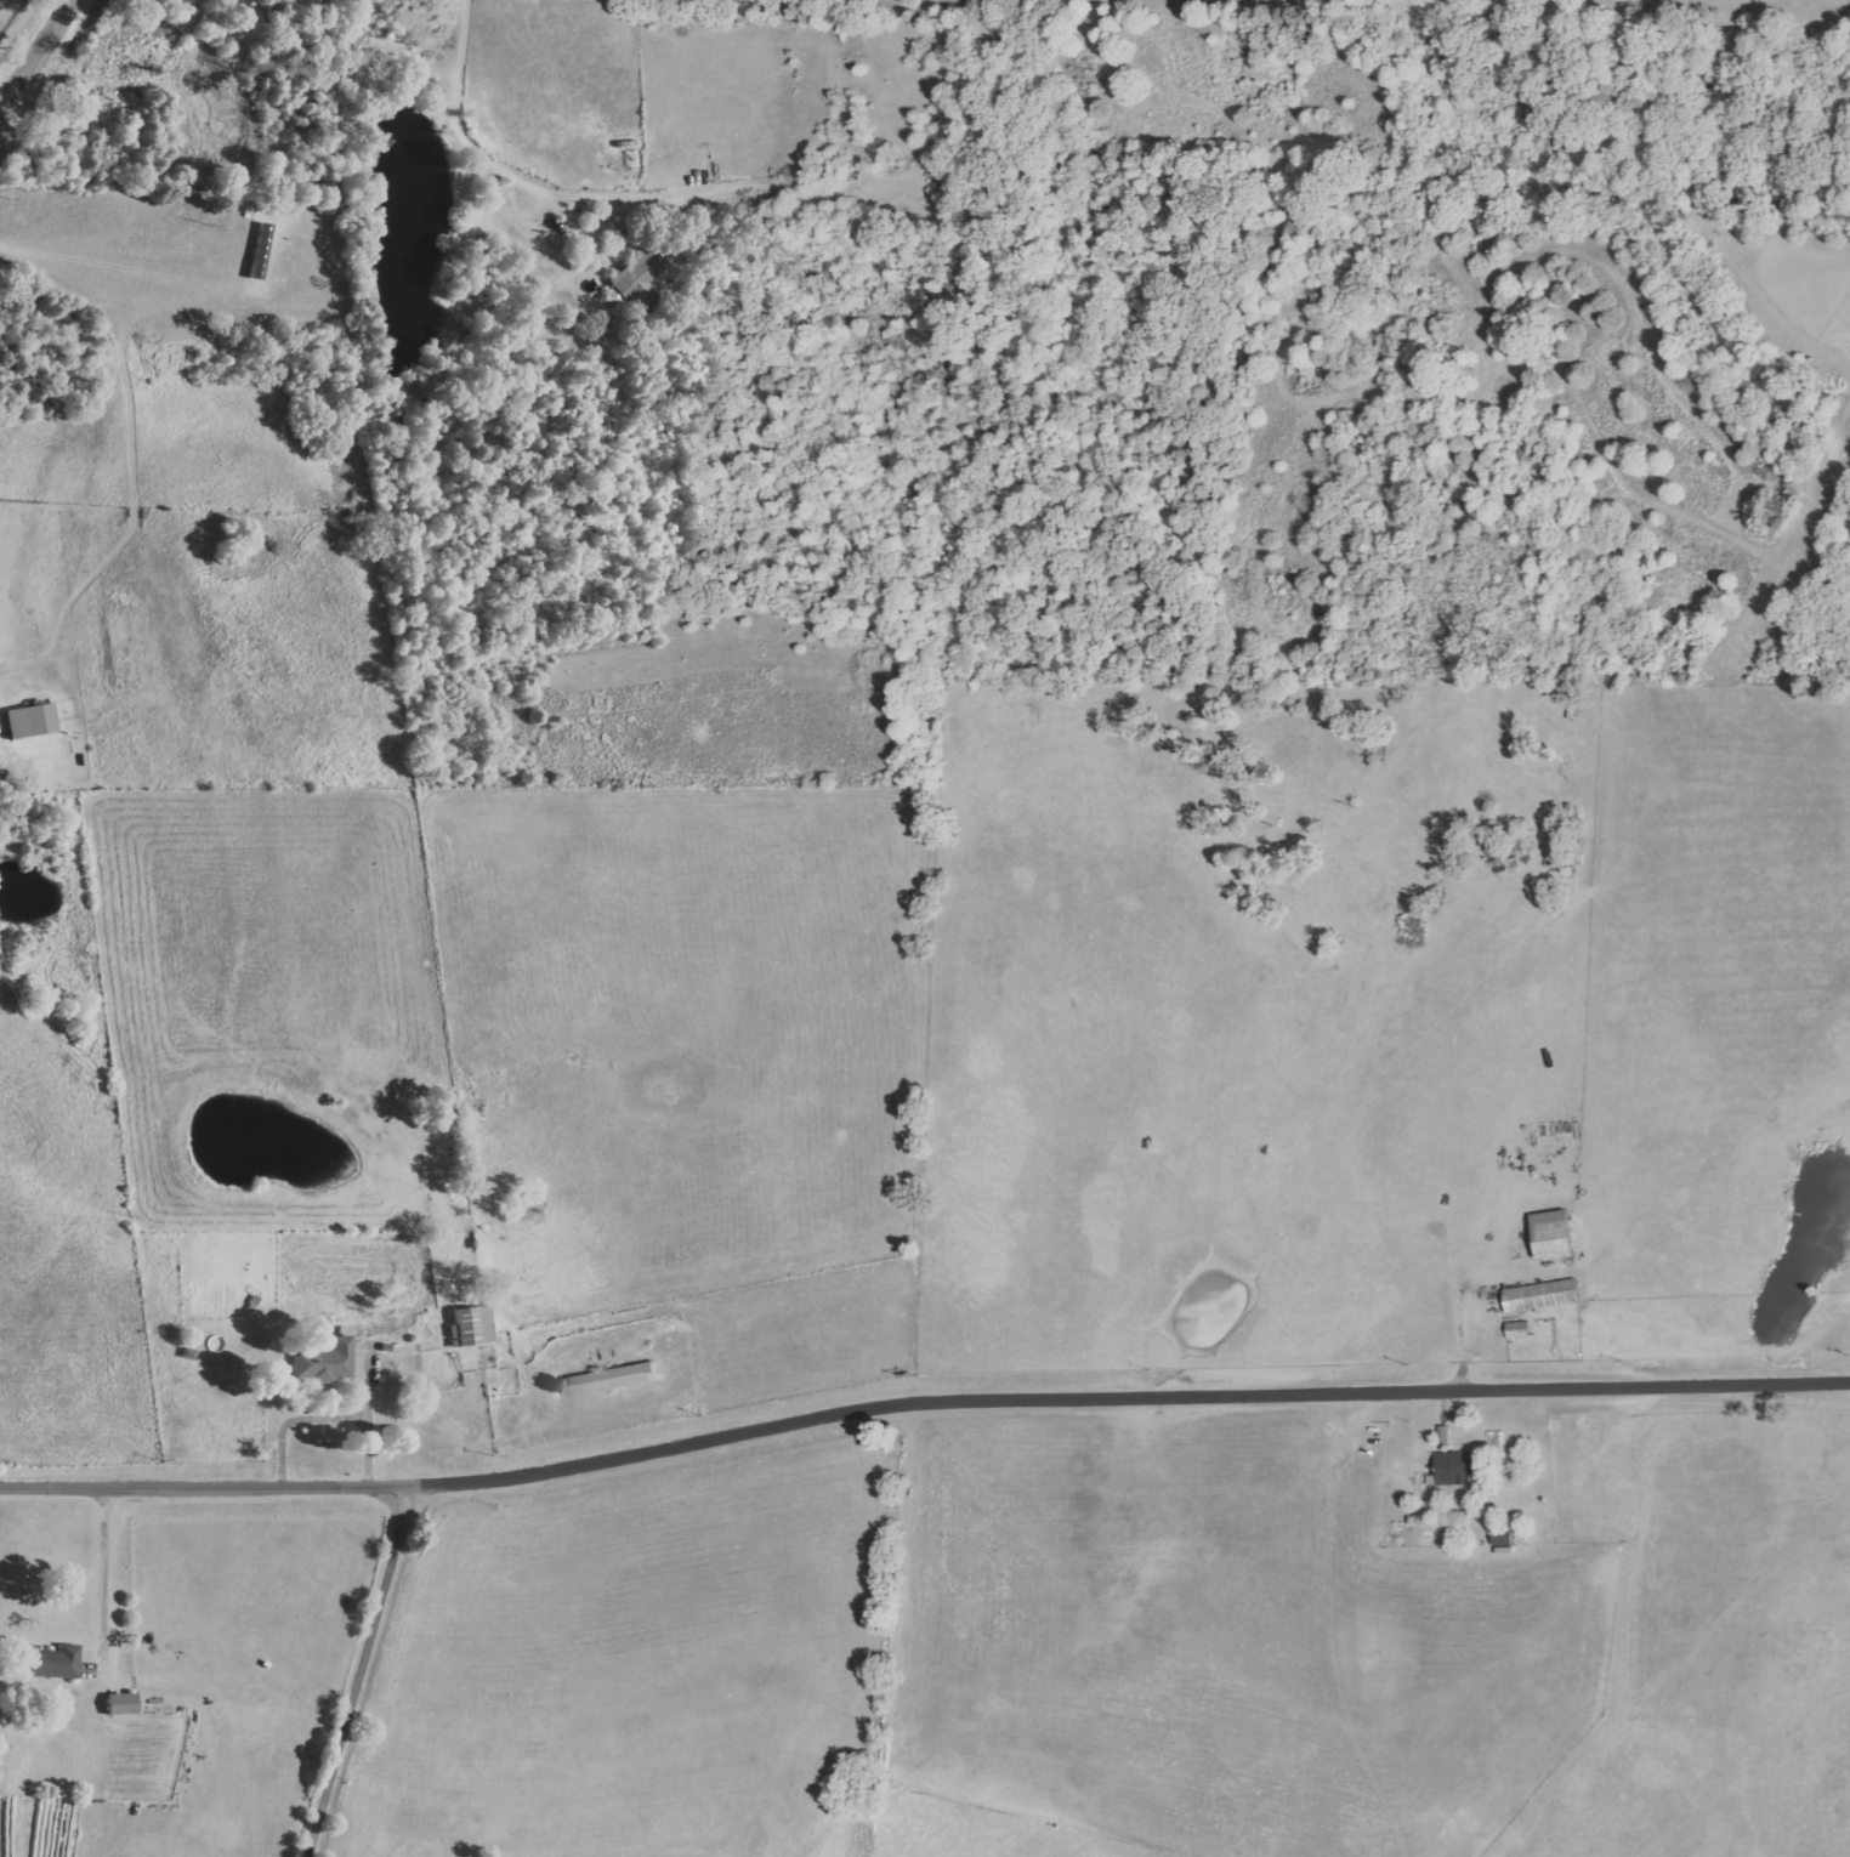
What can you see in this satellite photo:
road: (34, 47)
road: (1, 90)
road: (472, 138)
building: (636, 278)
building: (29, 720)
building: (1549, 1234)
building: (1538, 1295)
road: (1455, 1314)
building: (469, 1325)
building: (1515, 1329)
building: (329, 1361)
building: (611, 1379)
road: (919, 1398)
road: (334, 1422)
building: (1454, 1467)
road: (103, 1578)
road: (1321, 1635)
building: (50, 1662)
road: (356, 1676)
building: (118, 1703)

